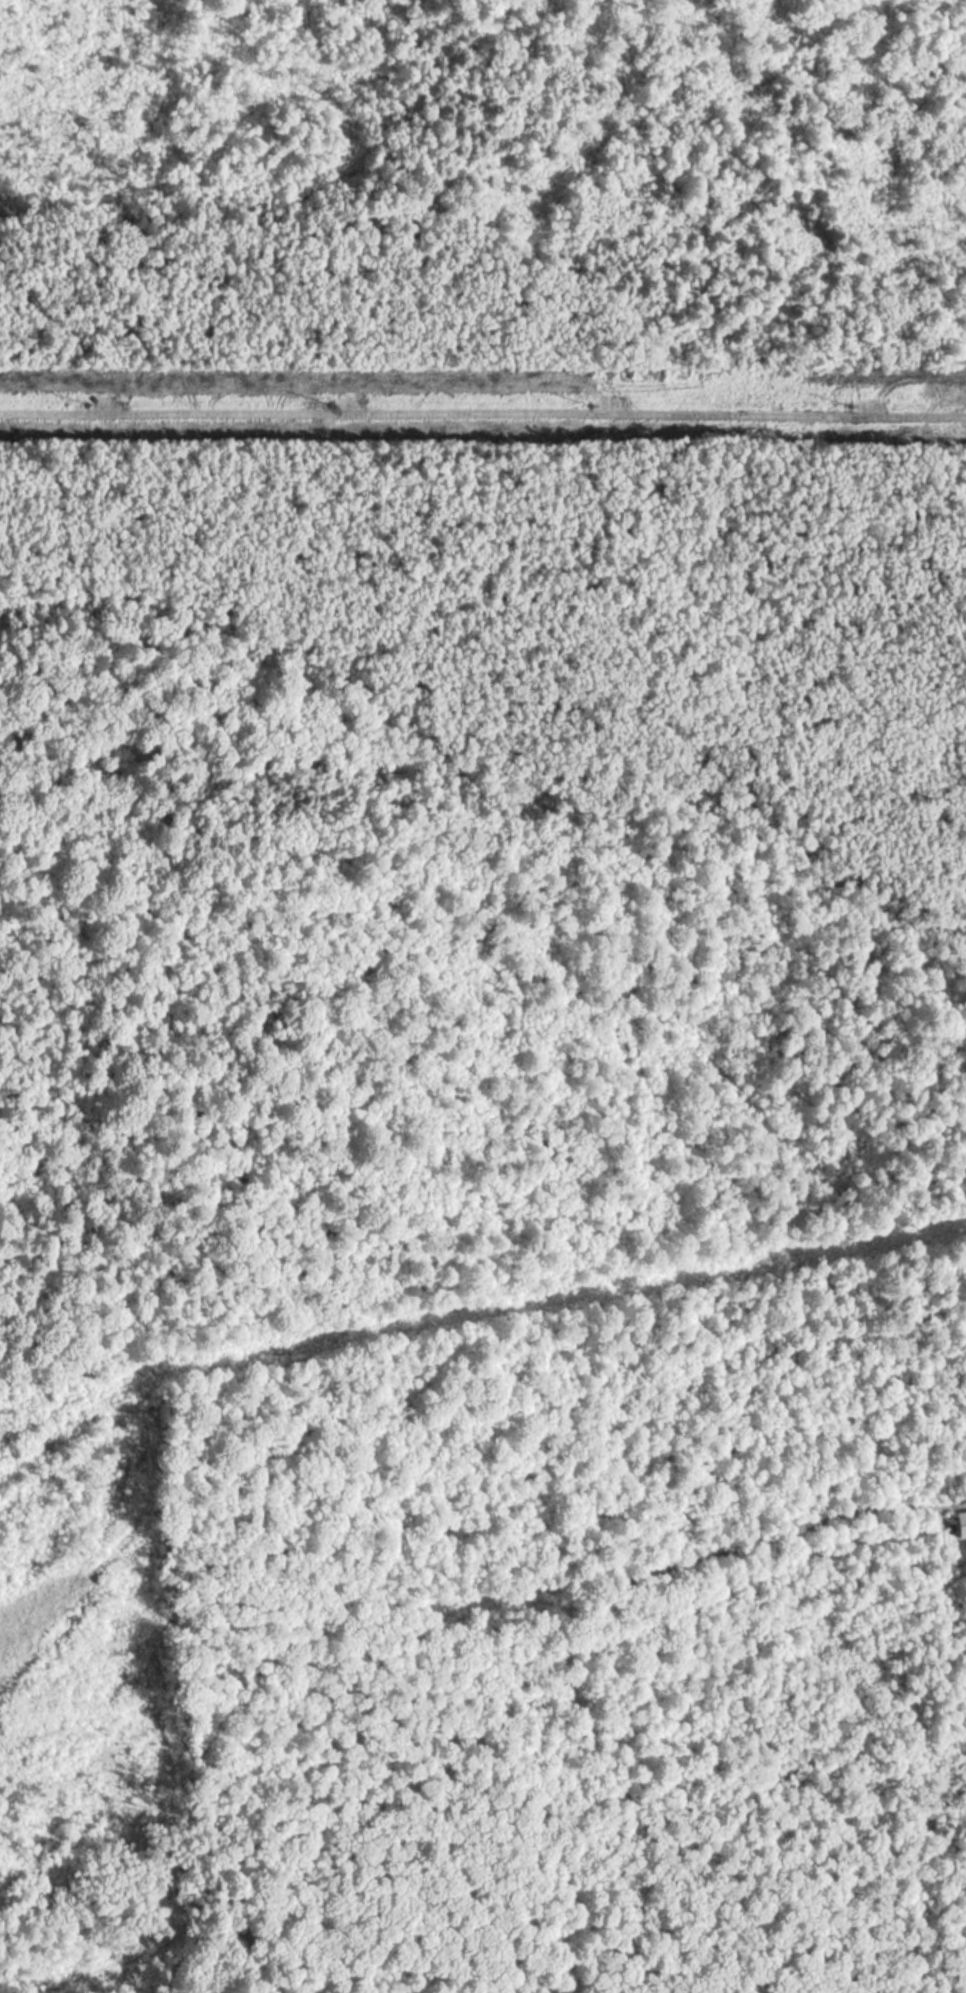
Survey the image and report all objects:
road: (827, 1485)
building: (958, 1524)

